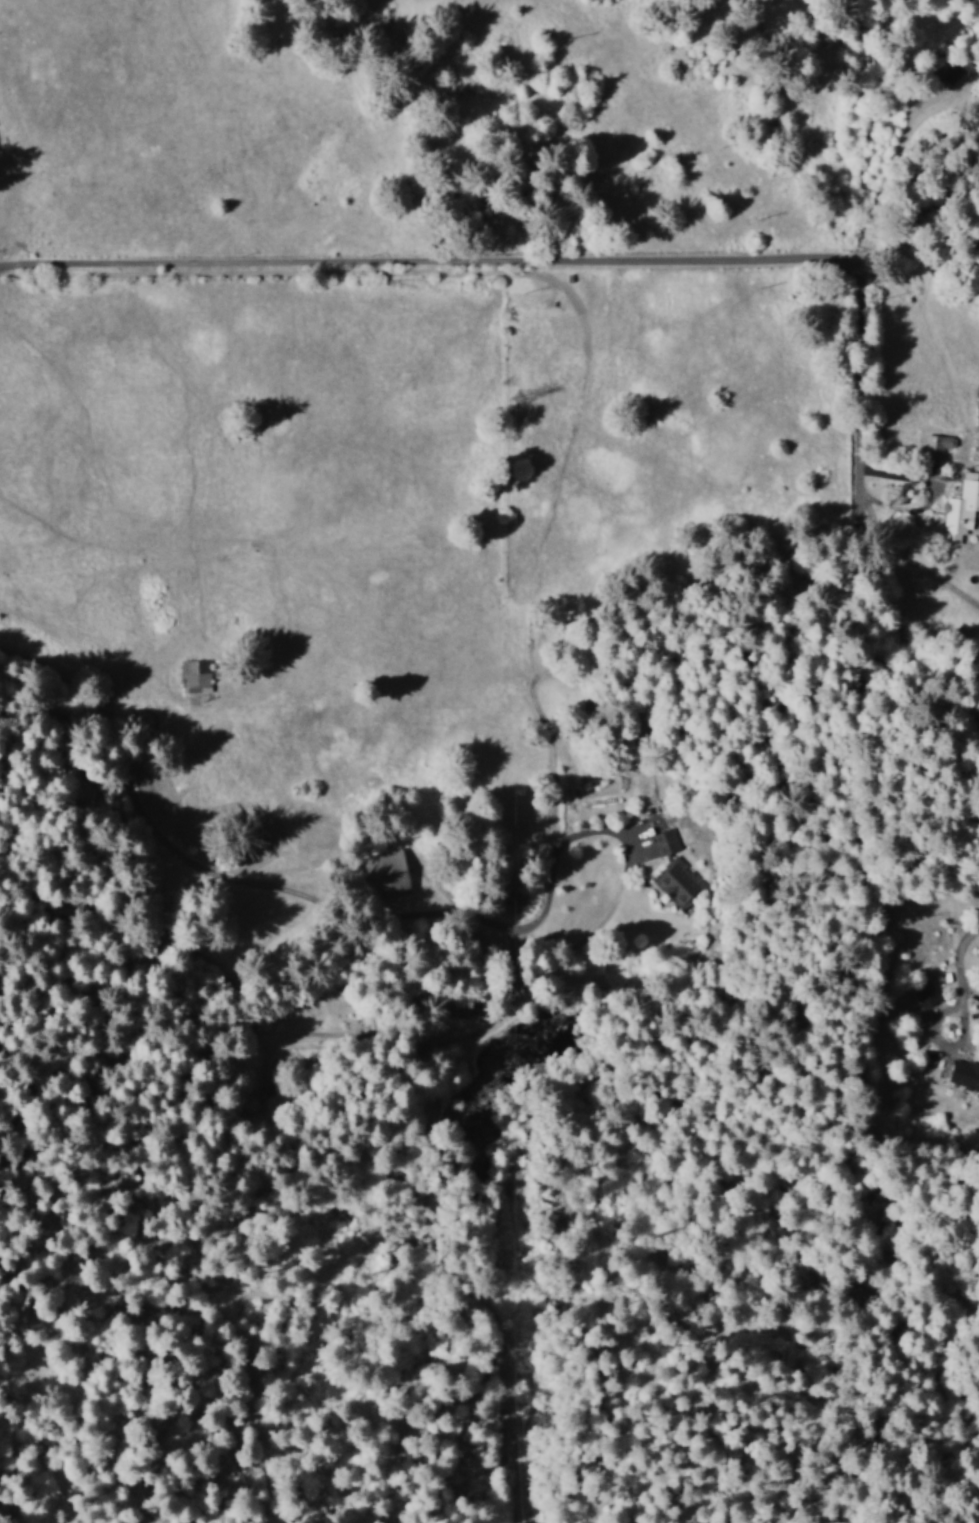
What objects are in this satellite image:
road: (884, 221)
road: (712, 259)
road: (19, 263)
building: (935, 445)
building: (961, 508)
building: (196, 674)
building: (666, 841)
building: (677, 882)
road: (59, 951)
road: (295, 994)
building: (921, 997)
road: (731, 1061)
building: (965, 1075)

